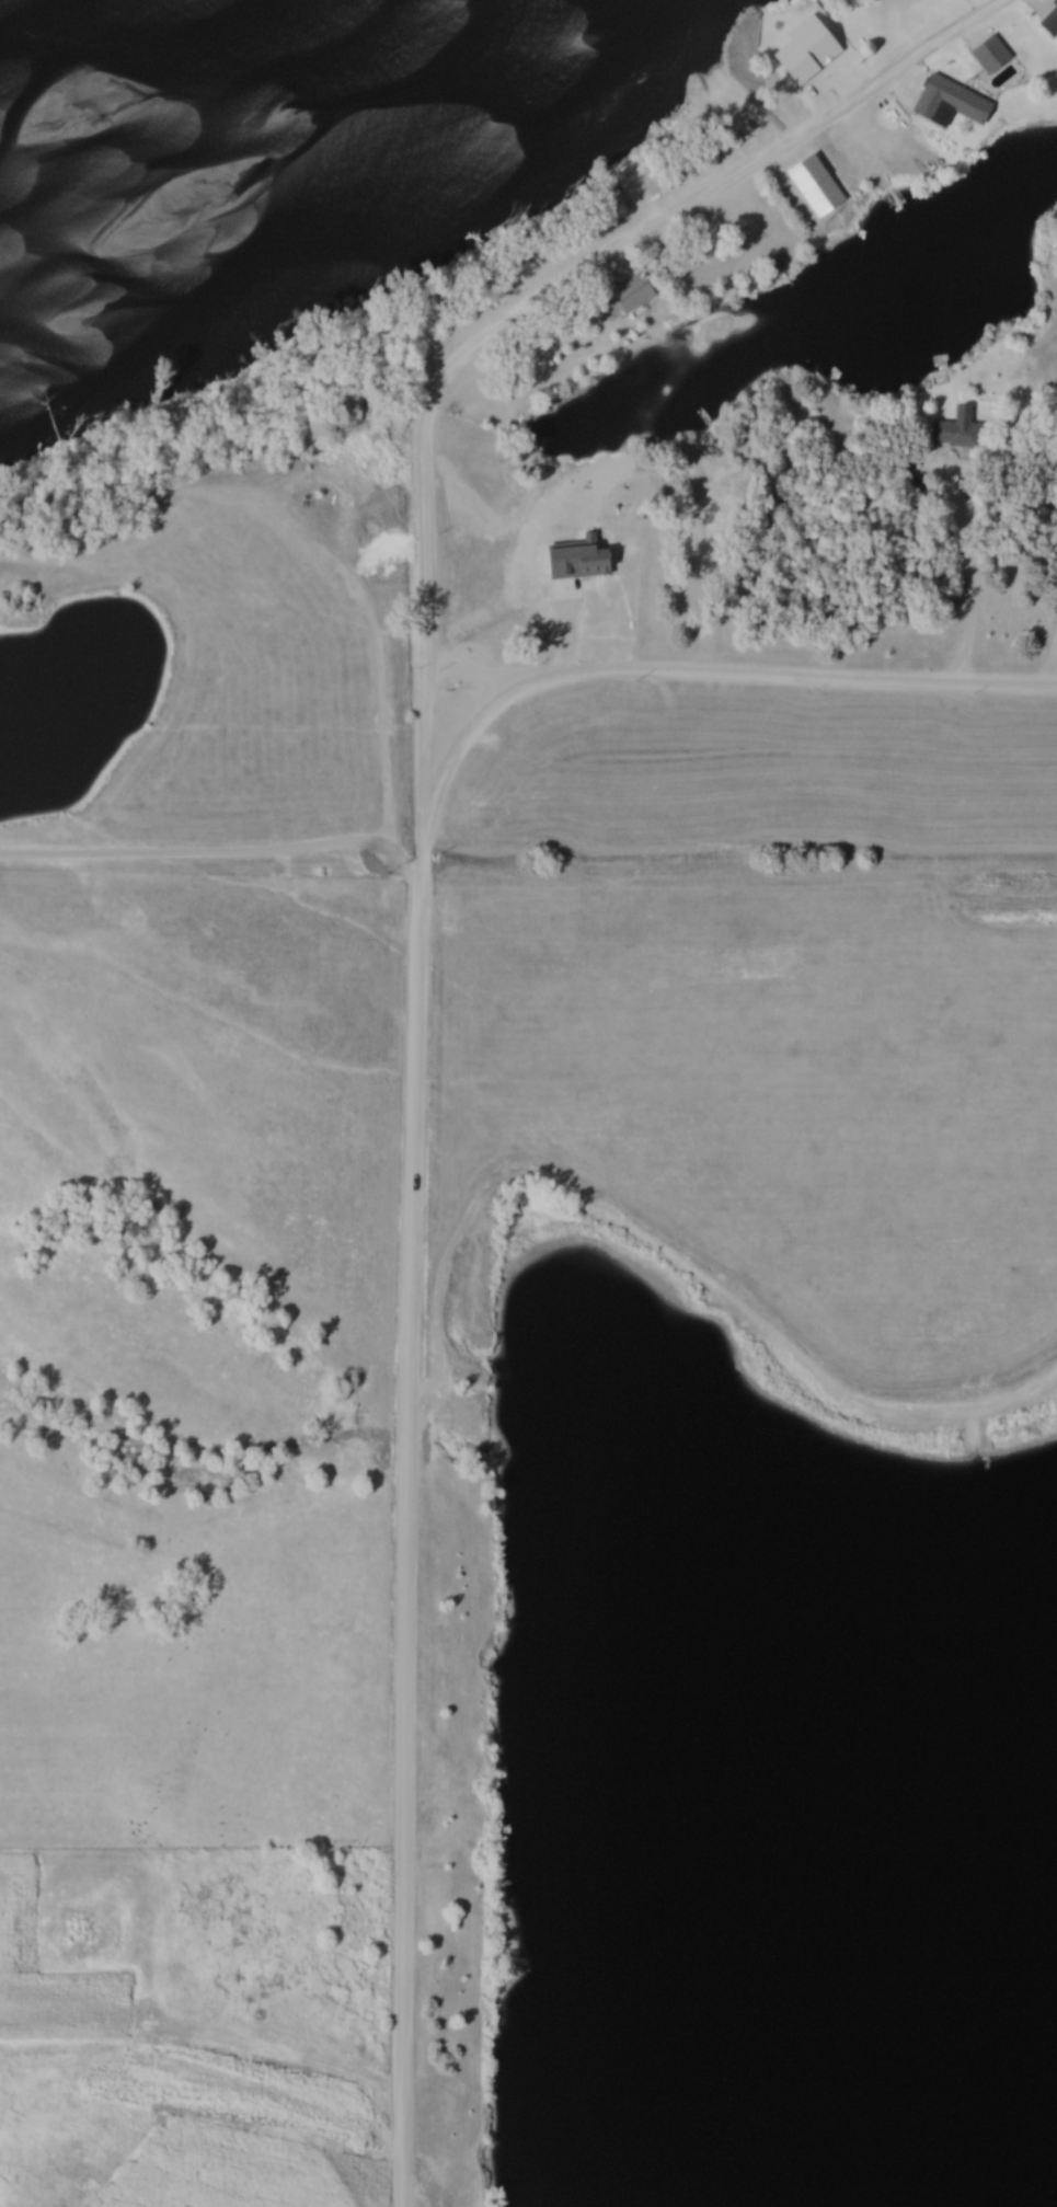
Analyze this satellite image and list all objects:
building: (1054, 3)
building: (1047, 23)
building: (986, 54)
building: (946, 103)
river: (296, 122)
building: (616, 168)
building: (617, 299)
building: (954, 432)
road: (314, 531)
building: (577, 559)
road: (970, 573)
road: (470, 666)
road: (711, 670)
road: (222, 859)
road: (415, 953)

